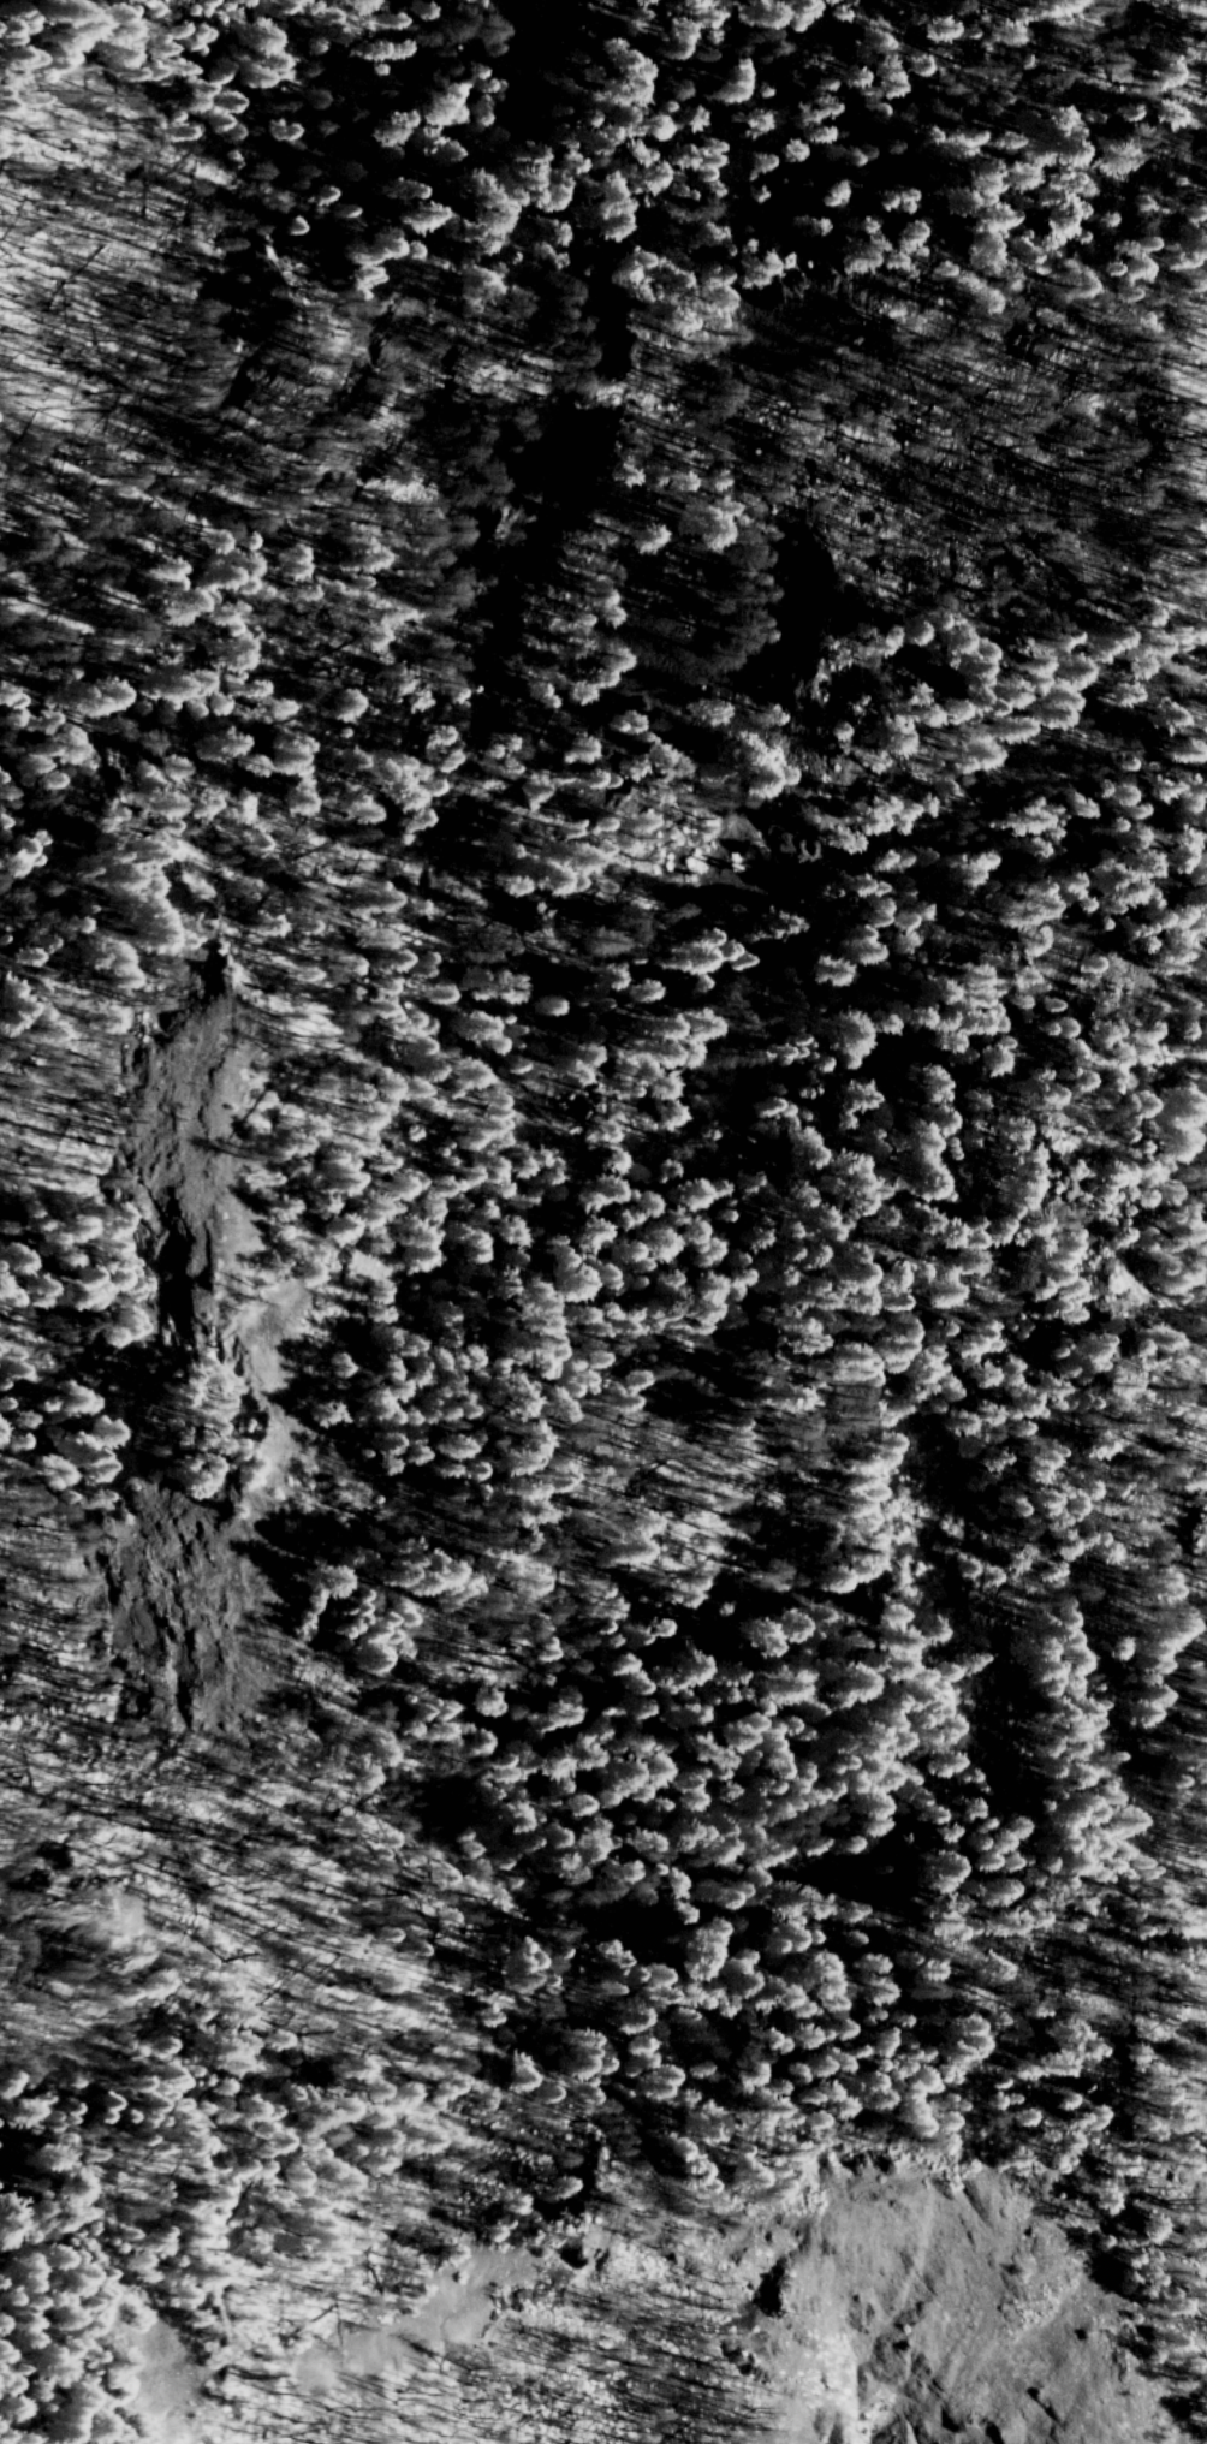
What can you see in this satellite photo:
road: (1134, 1135)

